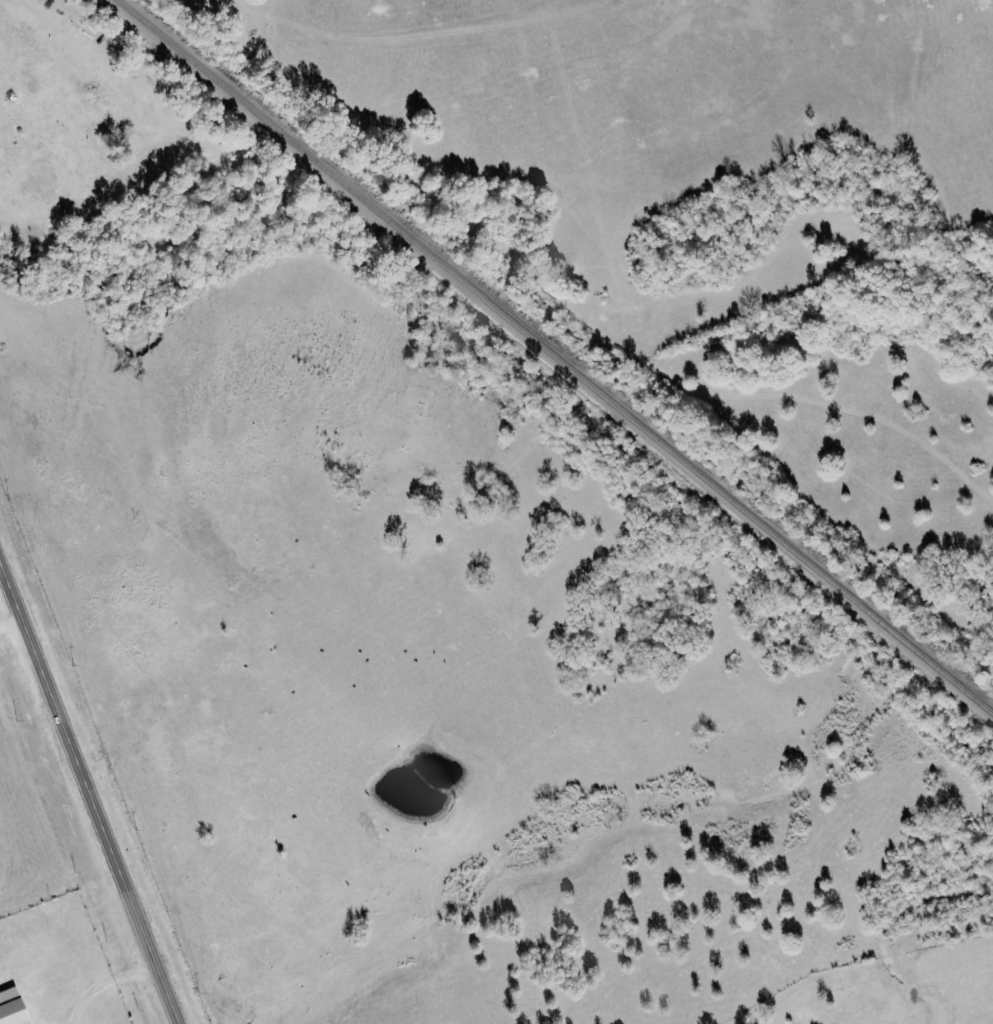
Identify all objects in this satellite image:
railway: (556, 357)
road: (89, 792)
building: (14, 1007)

